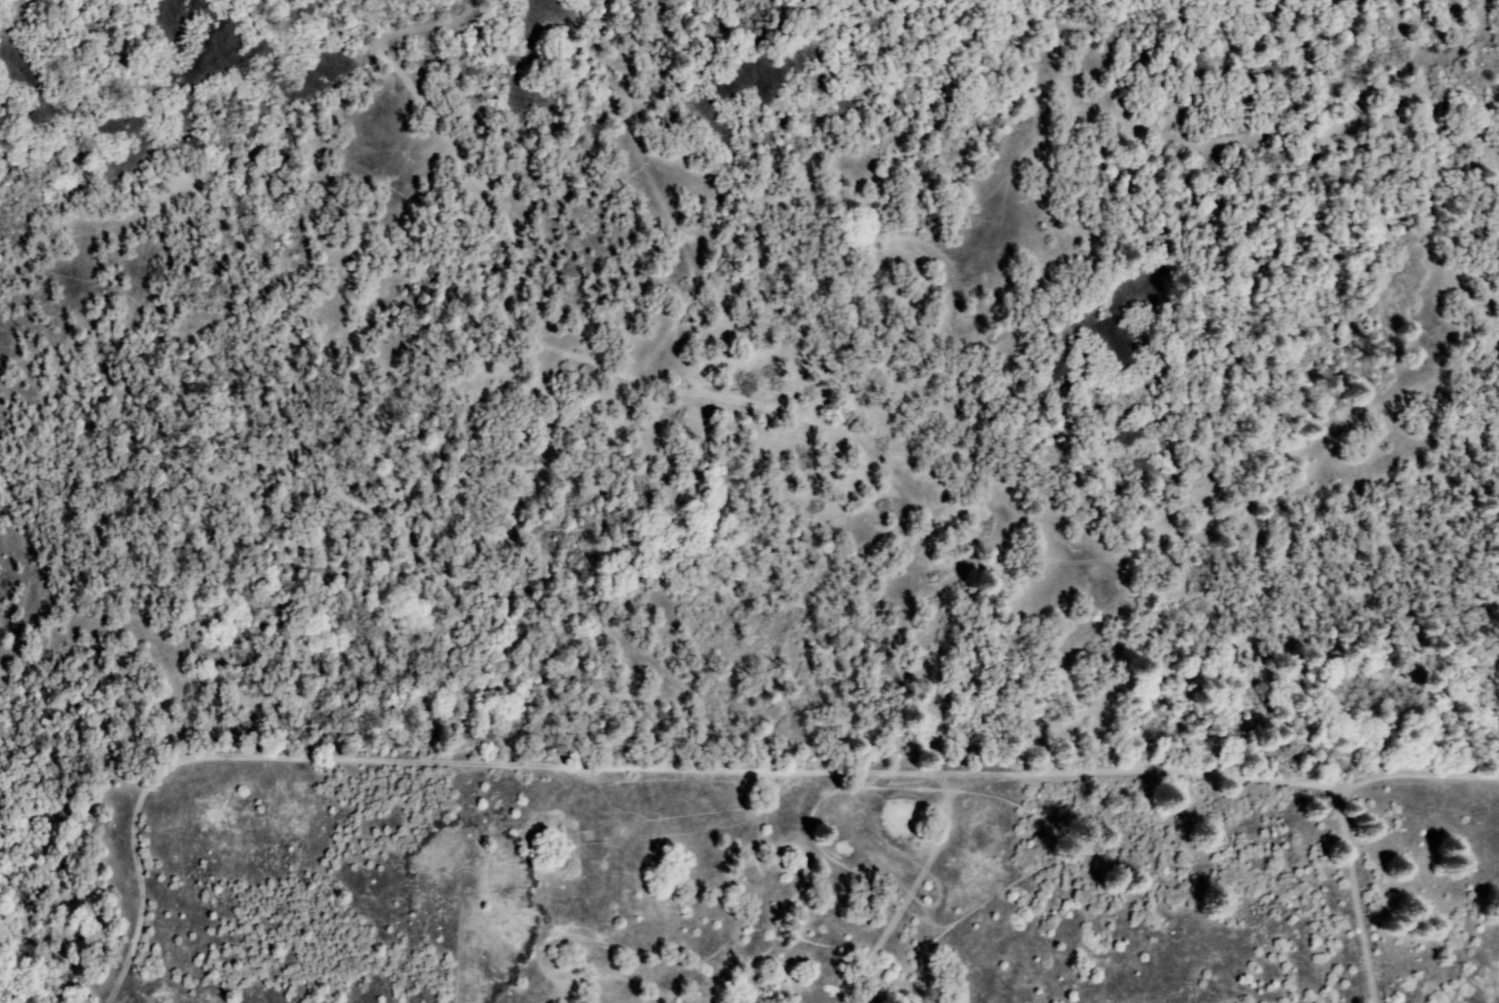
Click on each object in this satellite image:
road: (162, 861)

